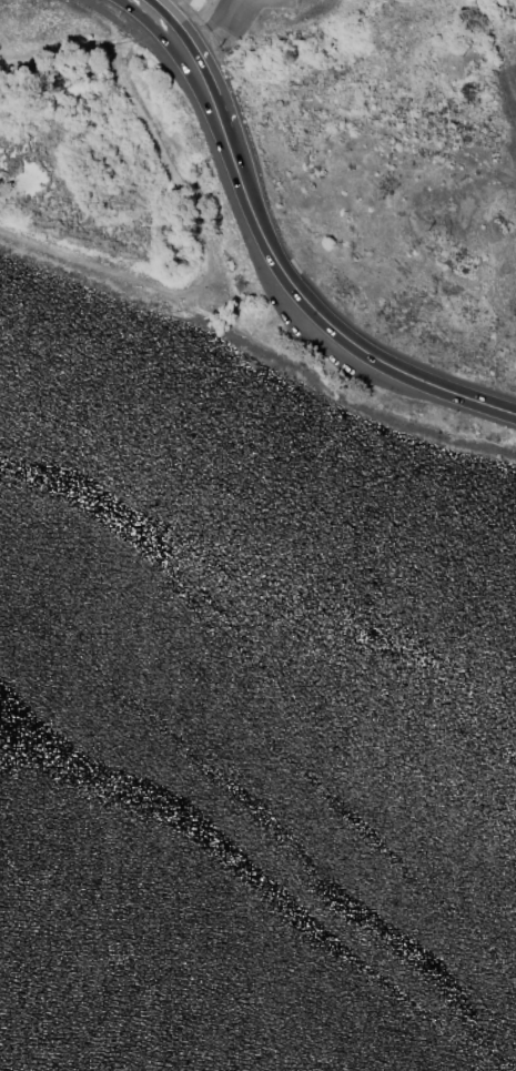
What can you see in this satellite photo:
road: (166, 29)
road: (134, 33)
road: (69, 53)
road: (315, 103)
park: (109, 159)
road: (195, 239)
road: (289, 281)
road: (500, 408)

